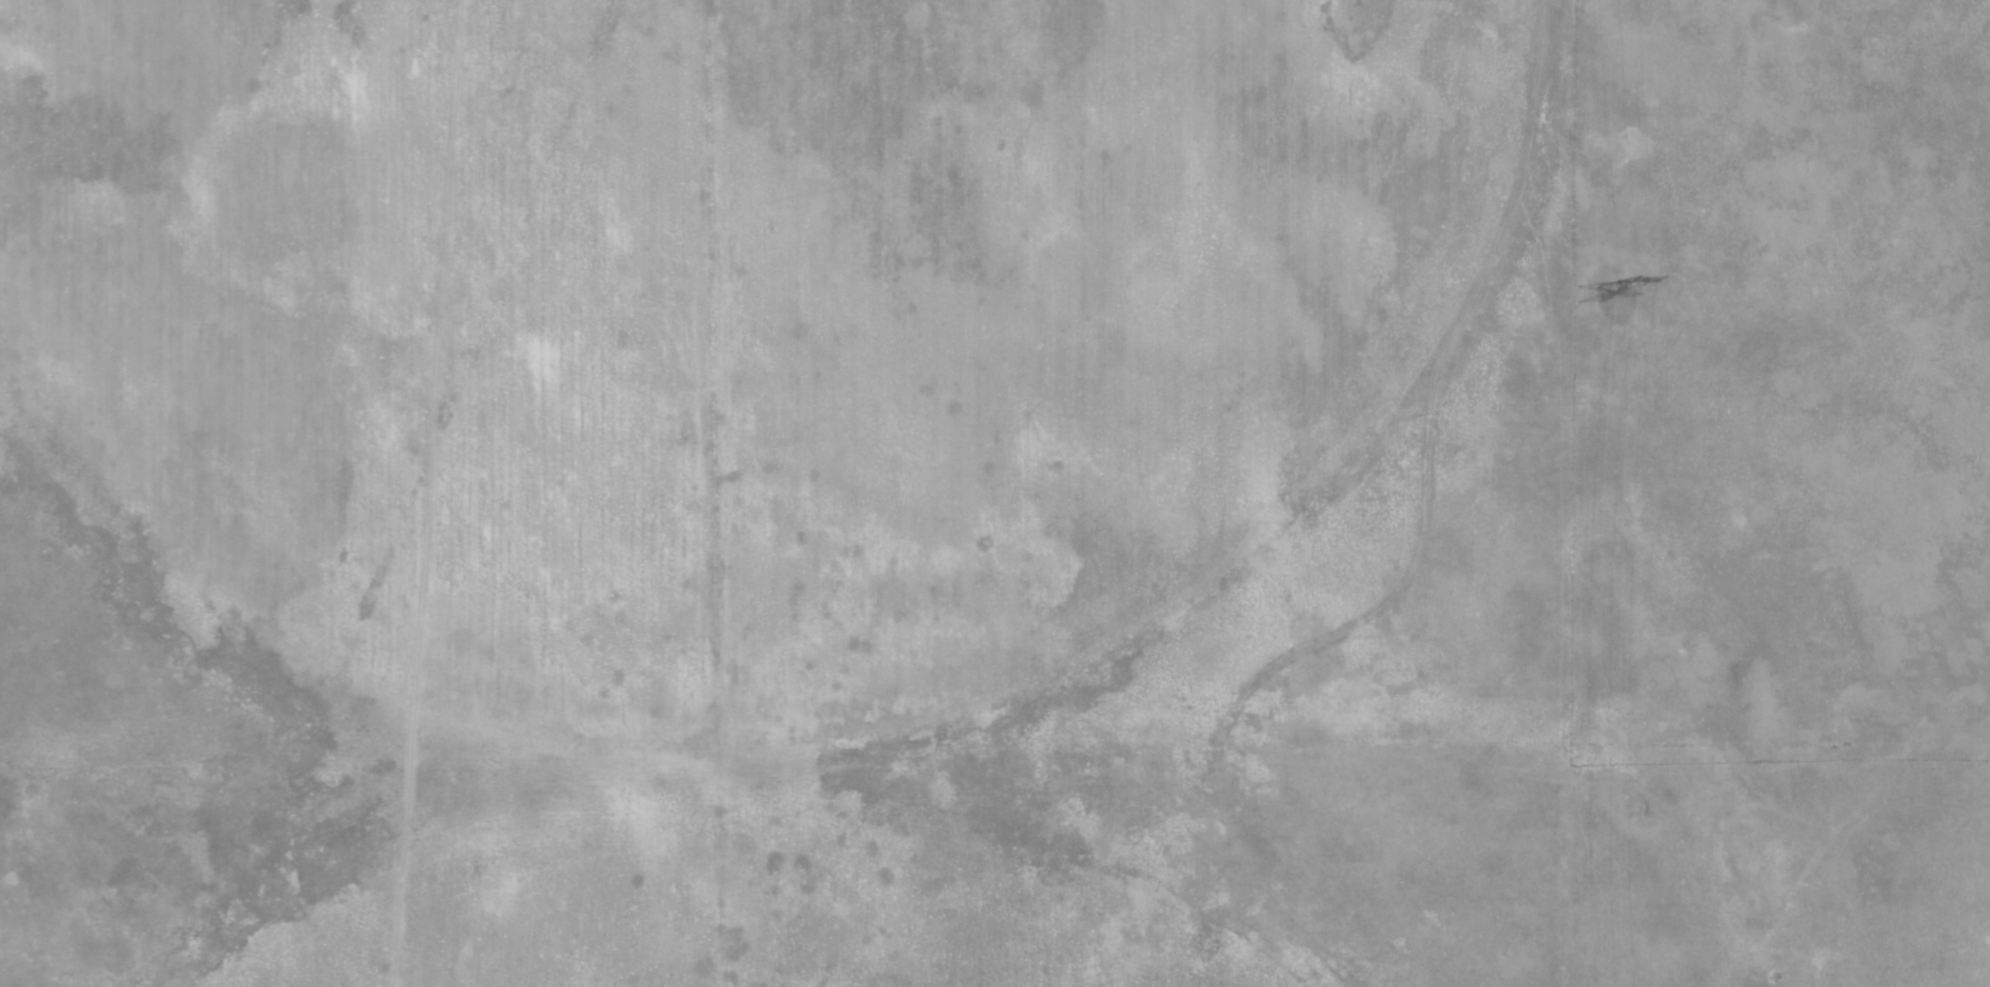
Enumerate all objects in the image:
power tower: (1587, 293)

